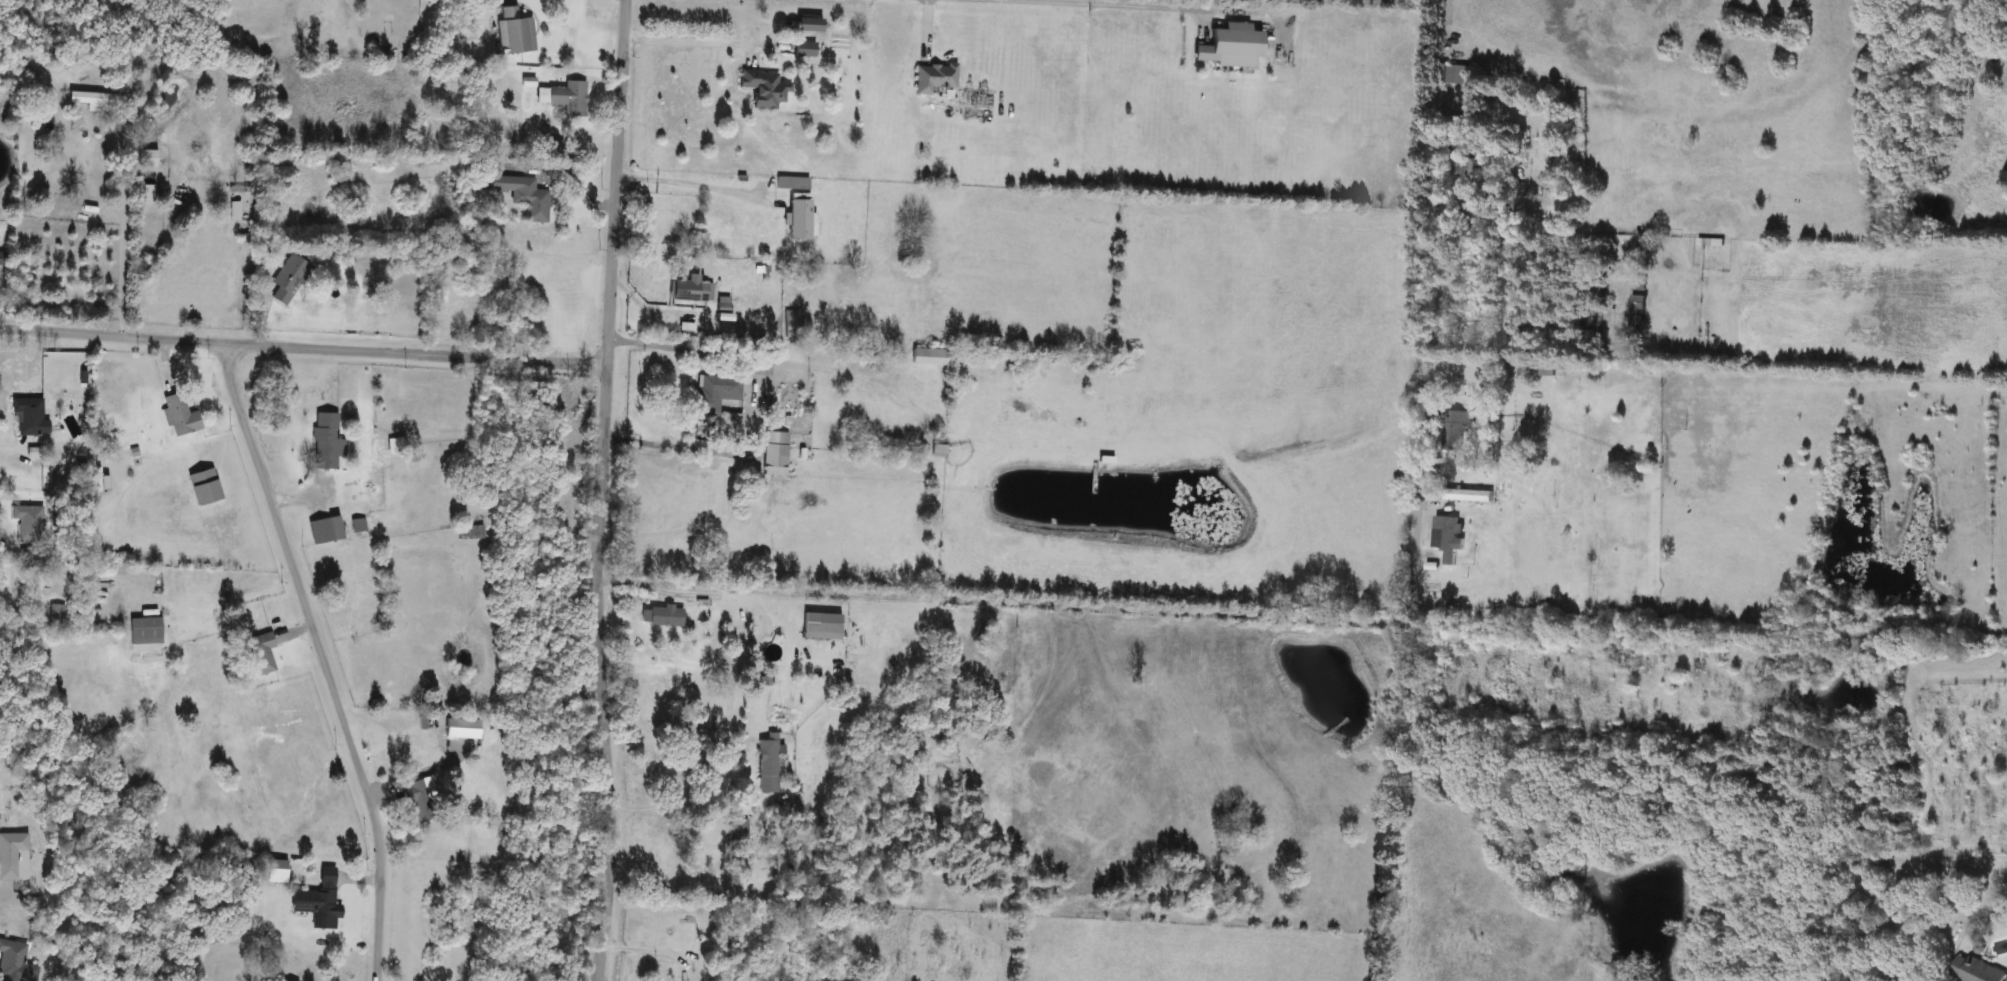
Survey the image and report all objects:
road: (1089, 5)
building: (513, 33)
road: (700, 44)
building: (1228, 47)
building: (803, 50)
building: (1453, 75)
building: (933, 78)
building: (762, 89)
building: (568, 99)
building: (95, 102)
building: (146, 159)
road: (682, 183)
building: (791, 184)
building: (519, 195)
building: (797, 220)
road: (120, 224)
building: (2, 260)
building: (287, 280)
building: (690, 291)
building: (1595, 292)
building: (1635, 314)
building: (1591, 320)
building: (791, 324)
road: (302, 349)
building: (1612, 357)
building: (930, 358)
building: (1548, 371)
building: (715, 394)
road: (752, 408)
building: (179, 416)
building: (27, 418)
building: (732, 426)
building: (1454, 430)
building: (325, 441)
building: (937, 447)
building: (773, 455)
road: (601, 490)
building: (1466, 496)
building: (1608, 506)
building: (29, 523)
building: (357, 527)
building: (323, 531)
building: (1446, 539)
building: (55, 613)
building: (660, 617)
road: (1260, 618)
building: (820, 627)
building: (143, 632)
building: (258, 655)
road: (323, 660)
building: (421, 723)
building: (766, 765)
road: (676, 799)
building: (419, 800)
building: (14, 858)
building: (320, 910)
building: (1972, 971)

